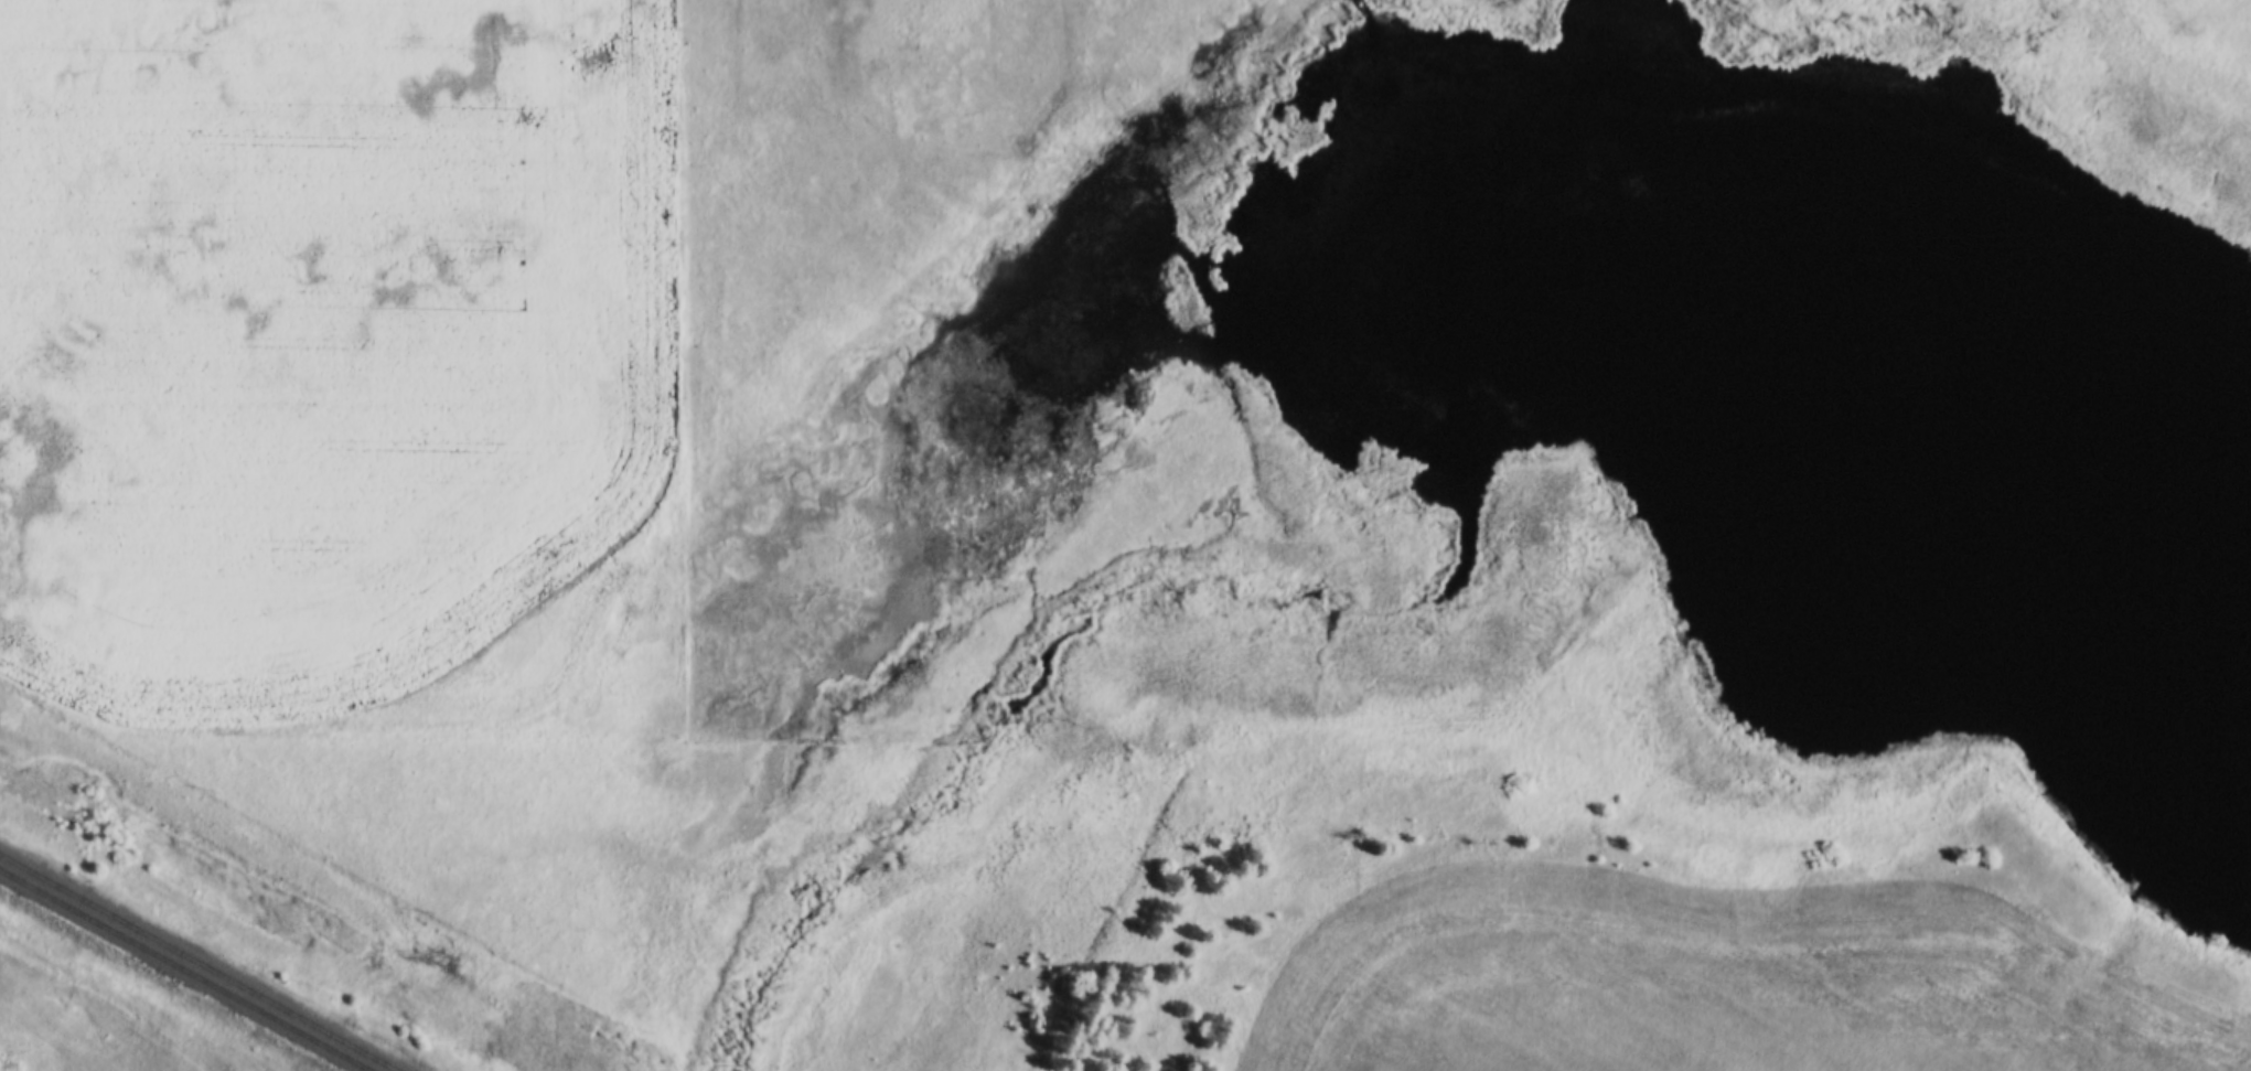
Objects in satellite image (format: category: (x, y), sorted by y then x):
railway: (196, 963)
railway: (183, 971)

